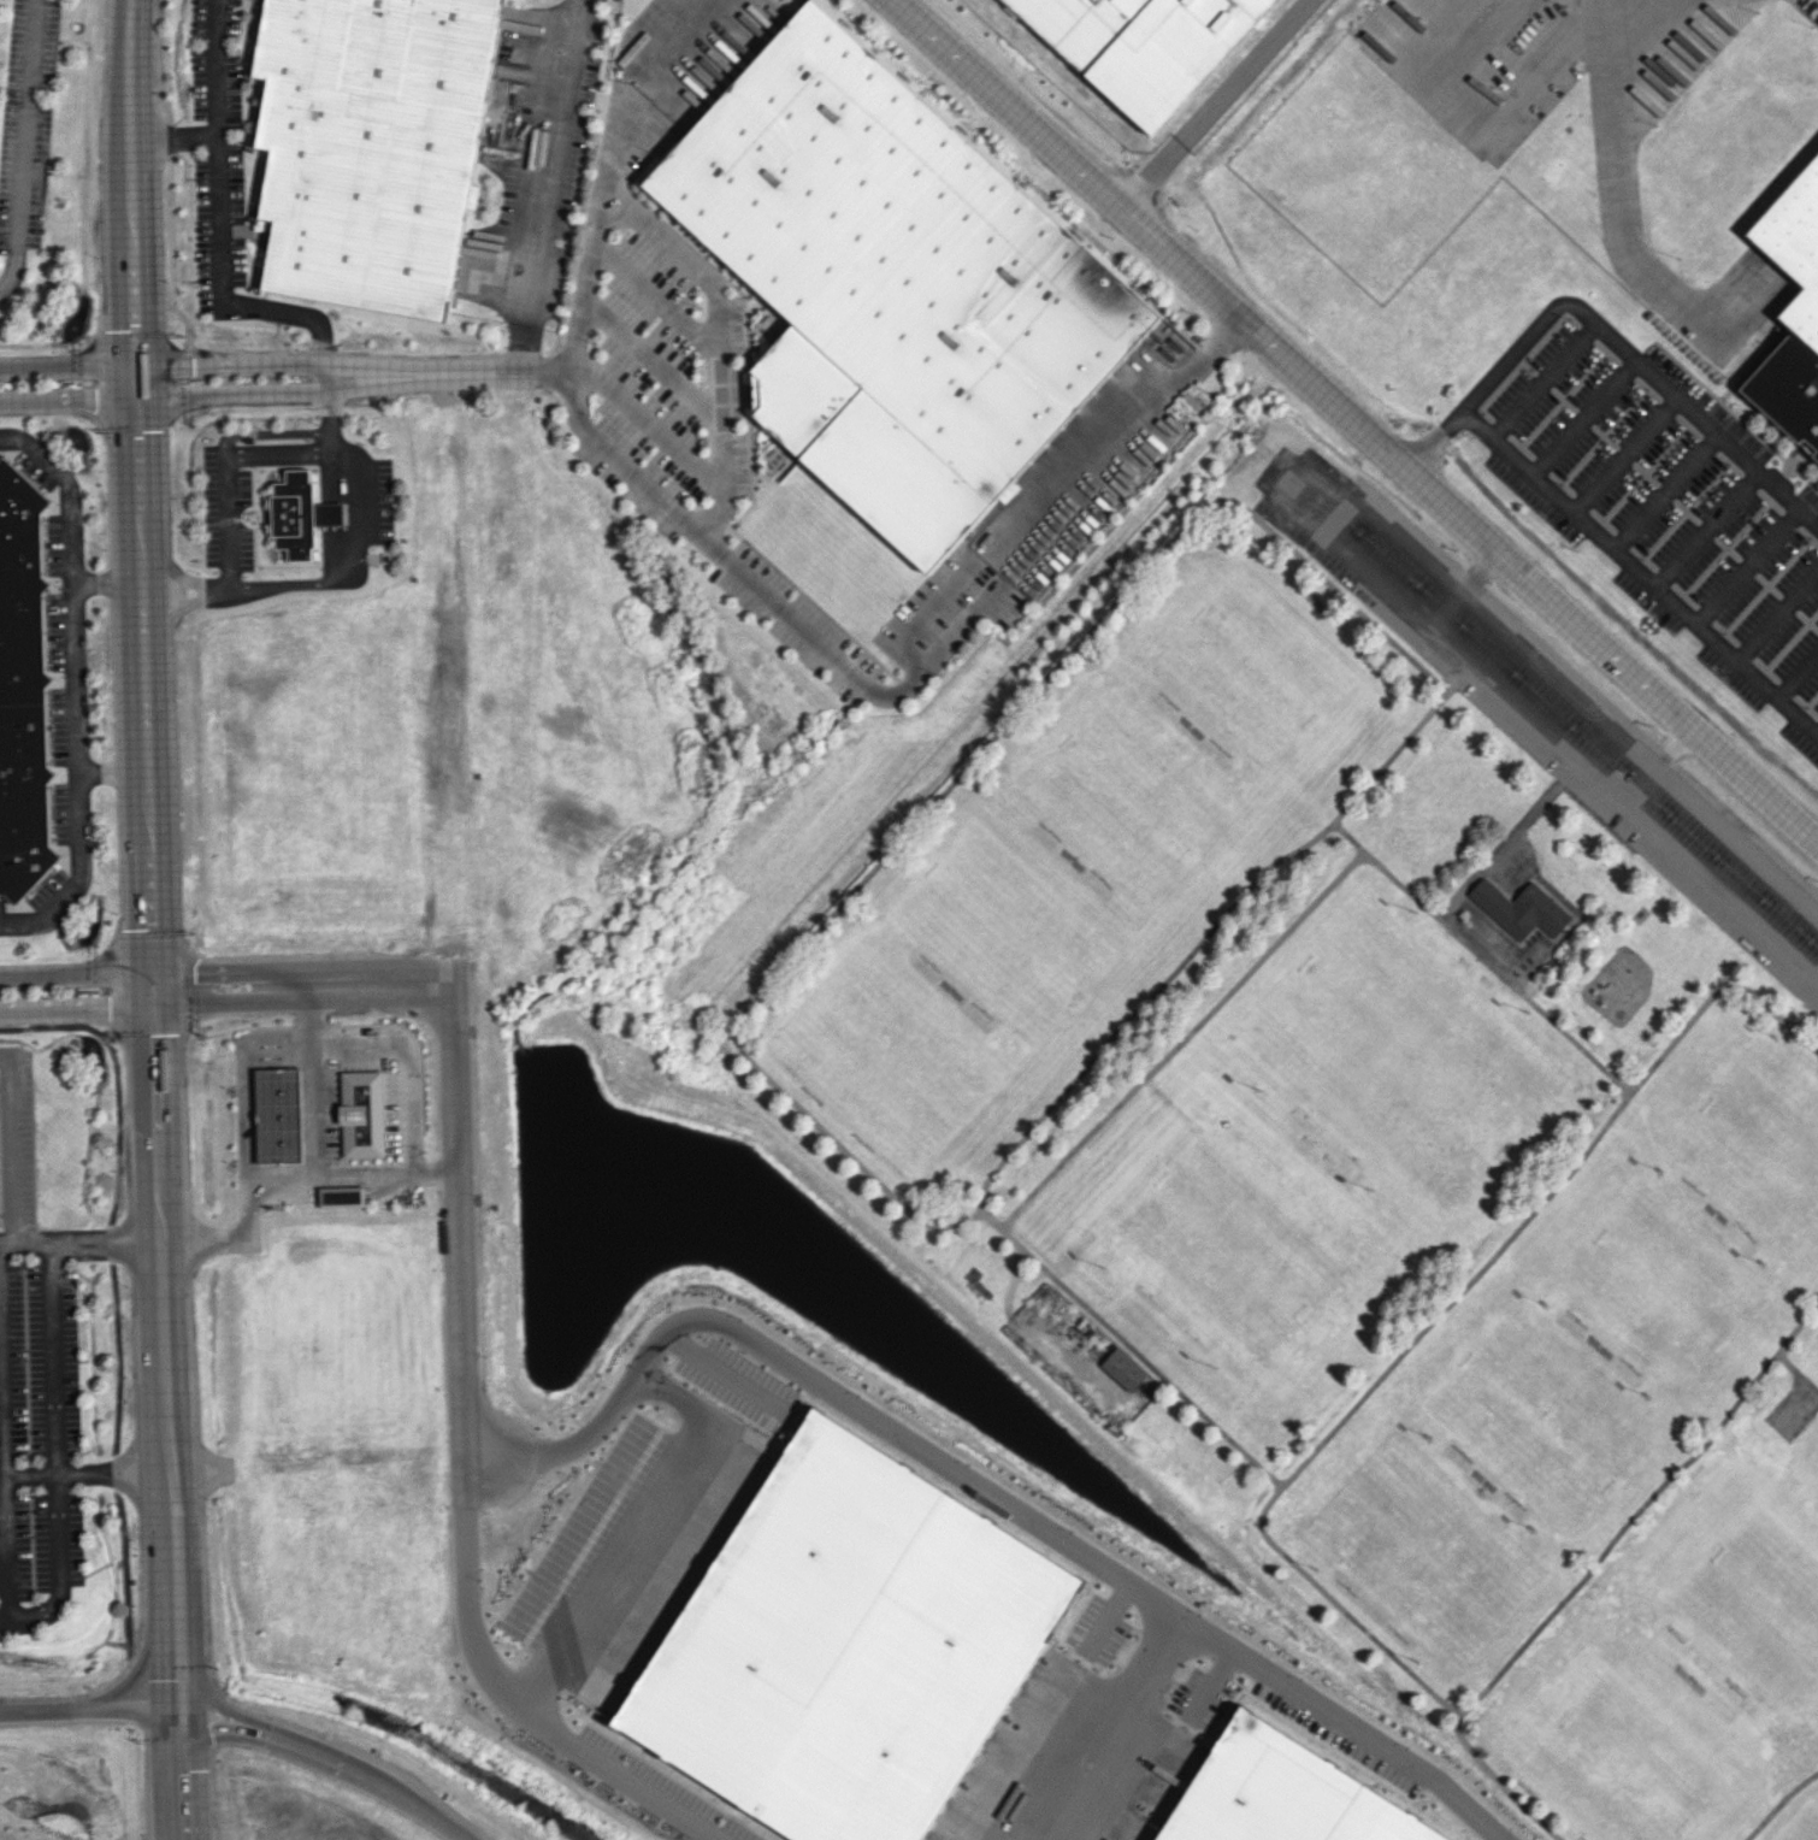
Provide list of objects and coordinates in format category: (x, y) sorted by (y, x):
building: (1145, 46)
road: (1216, 104)
road: (175, 135)
road: (17, 145)
building: (372, 147)
road: (218, 148)
road: (165, 183)
road: (550, 185)
building: (896, 284)
building: (1793, 311)
road: (1607, 334)
road: (320, 338)
road: (728, 342)
road: (236, 362)
road: (71, 366)
traffic signals: (142, 366)
road: (450, 373)
road: (1541, 379)
road: (142, 384)
road: (238, 393)
road: (71, 397)
road: (1582, 417)
road: (1354, 420)
road: (651, 425)
road: (268, 432)
road: (1624, 454)
road: (225, 468)
road: (65, 486)
building: (1009, 491)
road: (1281, 493)
road: (1665, 493)
building: (300, 514)
road: (1705, 529)
road: (1745, 566)
road: (336, 572)
road: (1639, 574)
road: (1460, 586)
road: (757, 589)
road: (189, 592)
road: (1776, 614)
road: (71, 637)
park: (1247, 660)
road: (1796, 677)
building: (23, 688)
parking lot: (1548, 713)
road: (1817, 733)
road: (1654, 763)
park: (1132, 792)
road: (77, 837)
road: (155, 869)
building: (1523, 910)
park: (1008, 927)
road: (224, 968)
traffic signals: (158, 969)
road: (78, 972)
road: (366, 981)
road: (158, 987)
road: (229, 1004)
traffic signals: (159, 1007)
road: (79, 1008)
park: (1395, 1040)
road: (325, 1043)
park: (890, 1061)
road: (448, 1078)
road: (314, 1079)
building: (360, 1113)
building: (273, 1115)
gas station: (324, 1117)
road: (14, 1143)
park: (1757, 1149)
road: (279, 1176)
building: (338, 1195)
park: (1228, 1225)
road: (164, 1238)
road: (82, 1242)
park: (1658, 1285)
road: (459, 1325)
road: (780, 1351)
building: (1123, 1369)
road: (54, 1413)
park: (1540, 1417)
road: (4, 1494)
road: (172, 1528)
park: (1423, 1551)
road: (59, 1567)
park: (1753, 1604)
road: (175, 1616)
building: (849, 1645)
road: (143, 1658)
road: (177, 1691)
road: (209, 1692)
road: (43, 1709)
road: (135, 1715)
road: (216, 1728)
traffic signals: (178, 1736)
park: (1629, 1753)
road: (337, 1763)
road: (179, 1788)
building: (1282, 1795)
road: (442, 1822)

